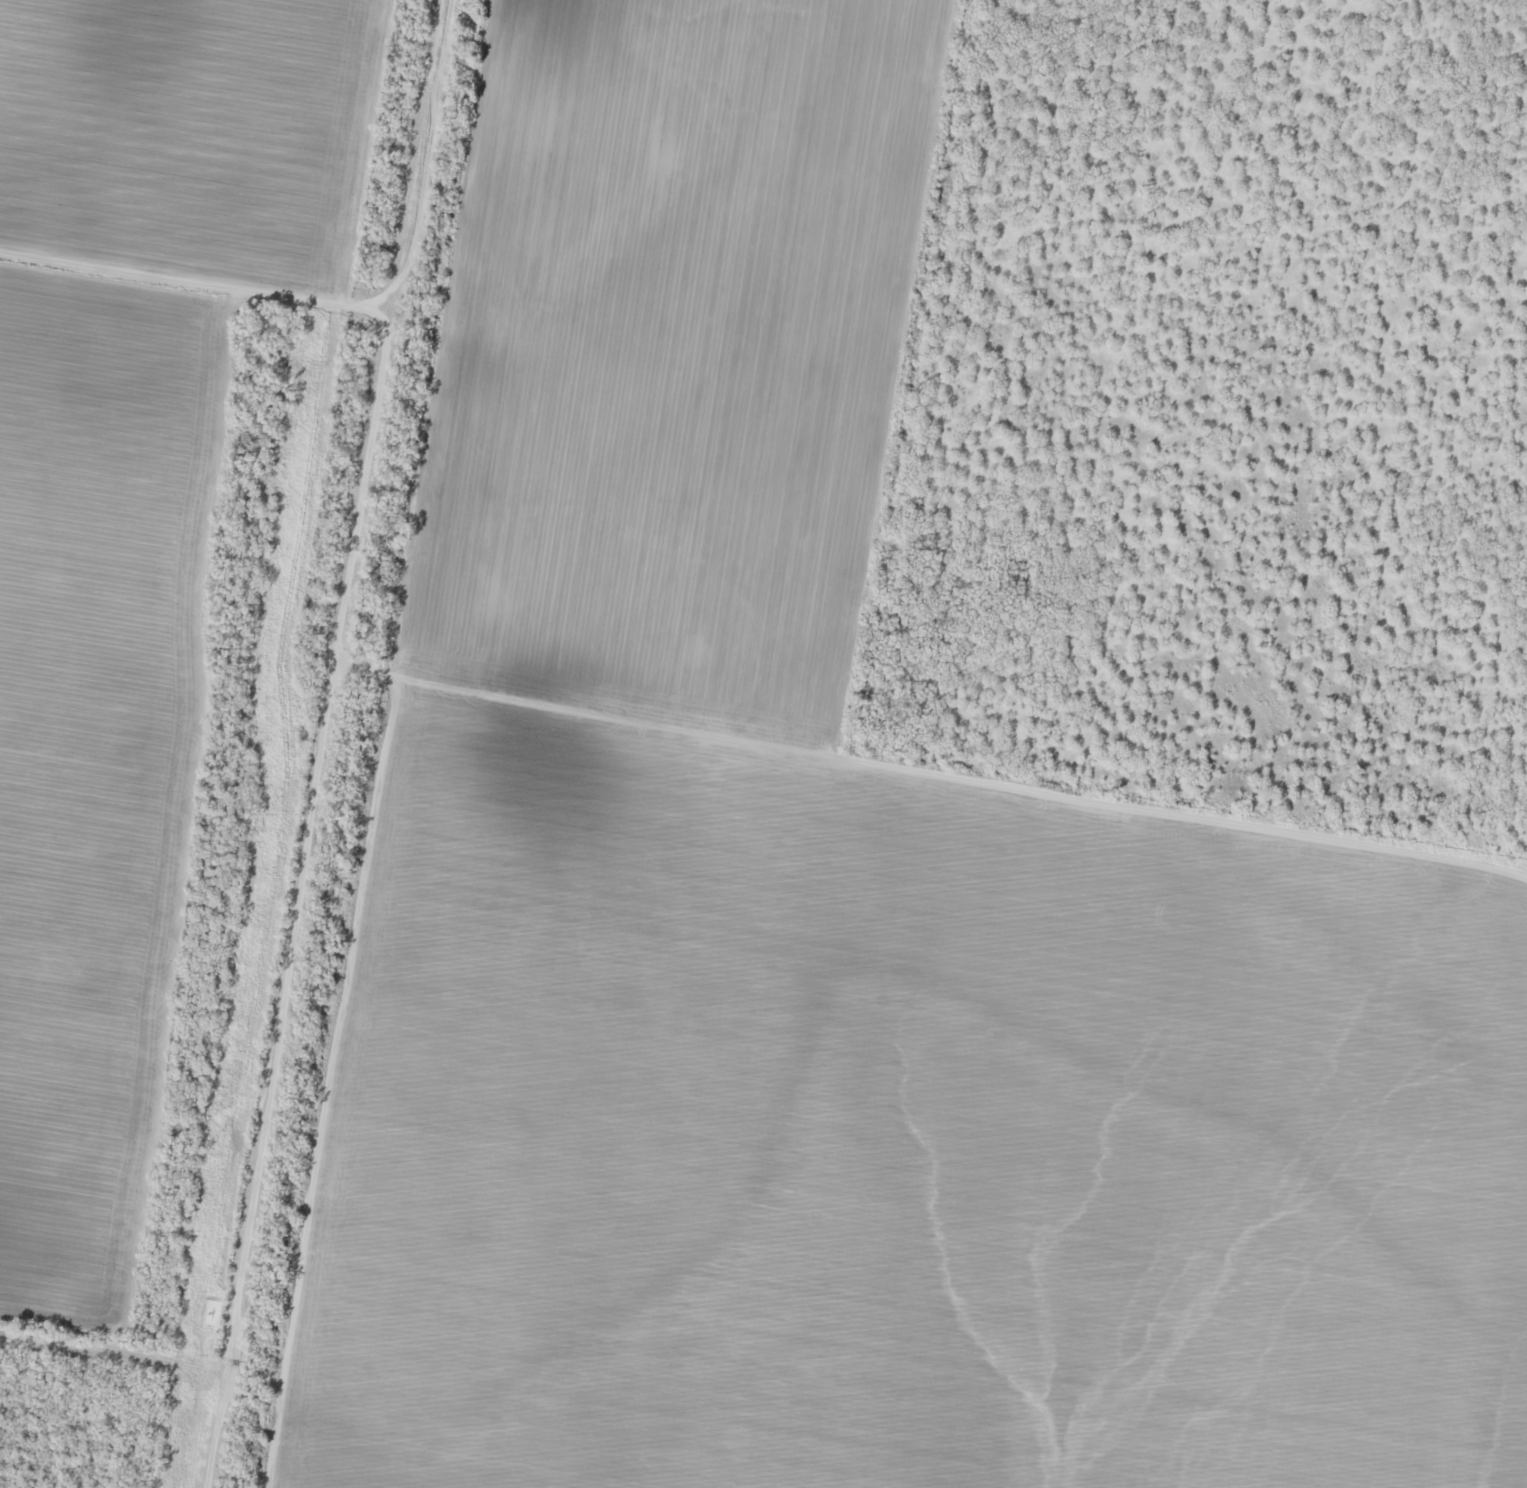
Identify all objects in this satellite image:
road: (170, 288)
road: (283, 743)
railway: (339, 744)

